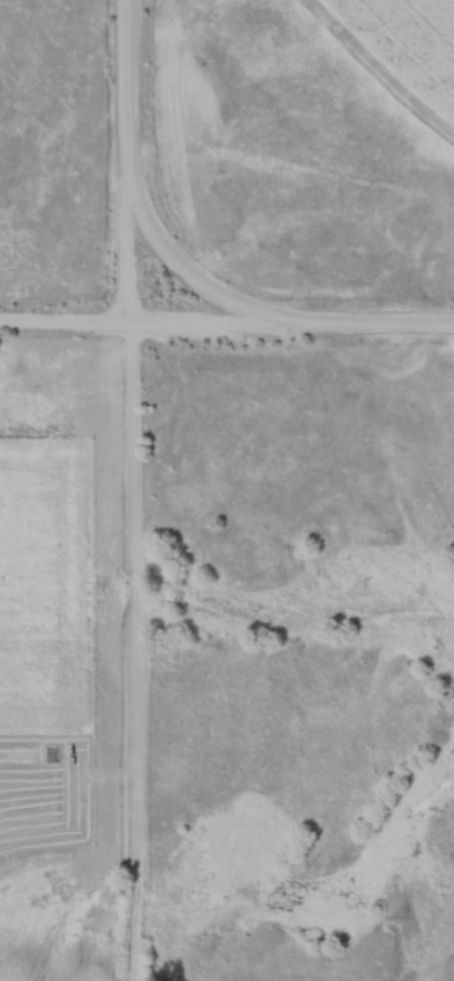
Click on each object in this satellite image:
road: (183, 267)
road: (157, 319)
road: (139, 565)

